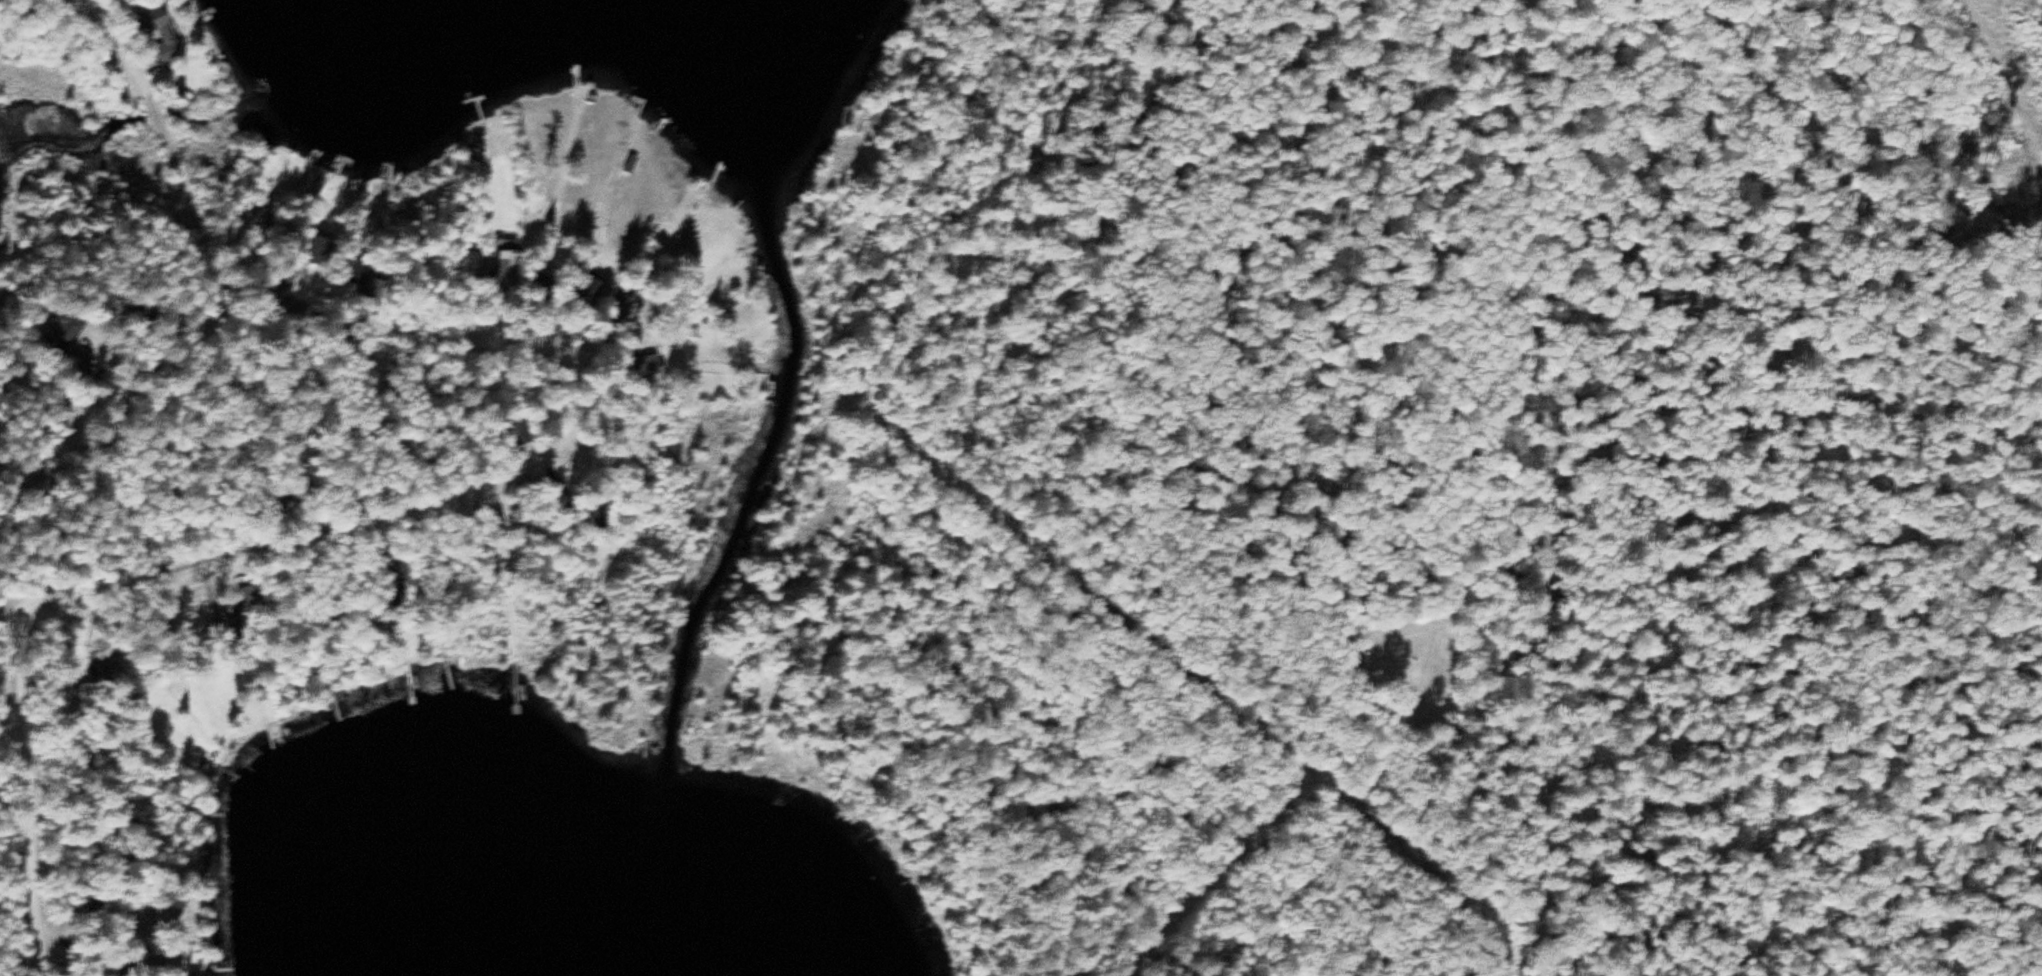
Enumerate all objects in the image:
building: (165, 33)
road: (2002, 117)
road: (164, 140)
building: (472, 261)
building: (509, 269)
building: (66, 333)
building: (649, 365)
road: (93, 436)
road: (519, 470)
building: (565, 497)
road: (11, 603)
building: (233, 625)
building: (102, 678)
road: (1435, 727)
road: (38, 788)

